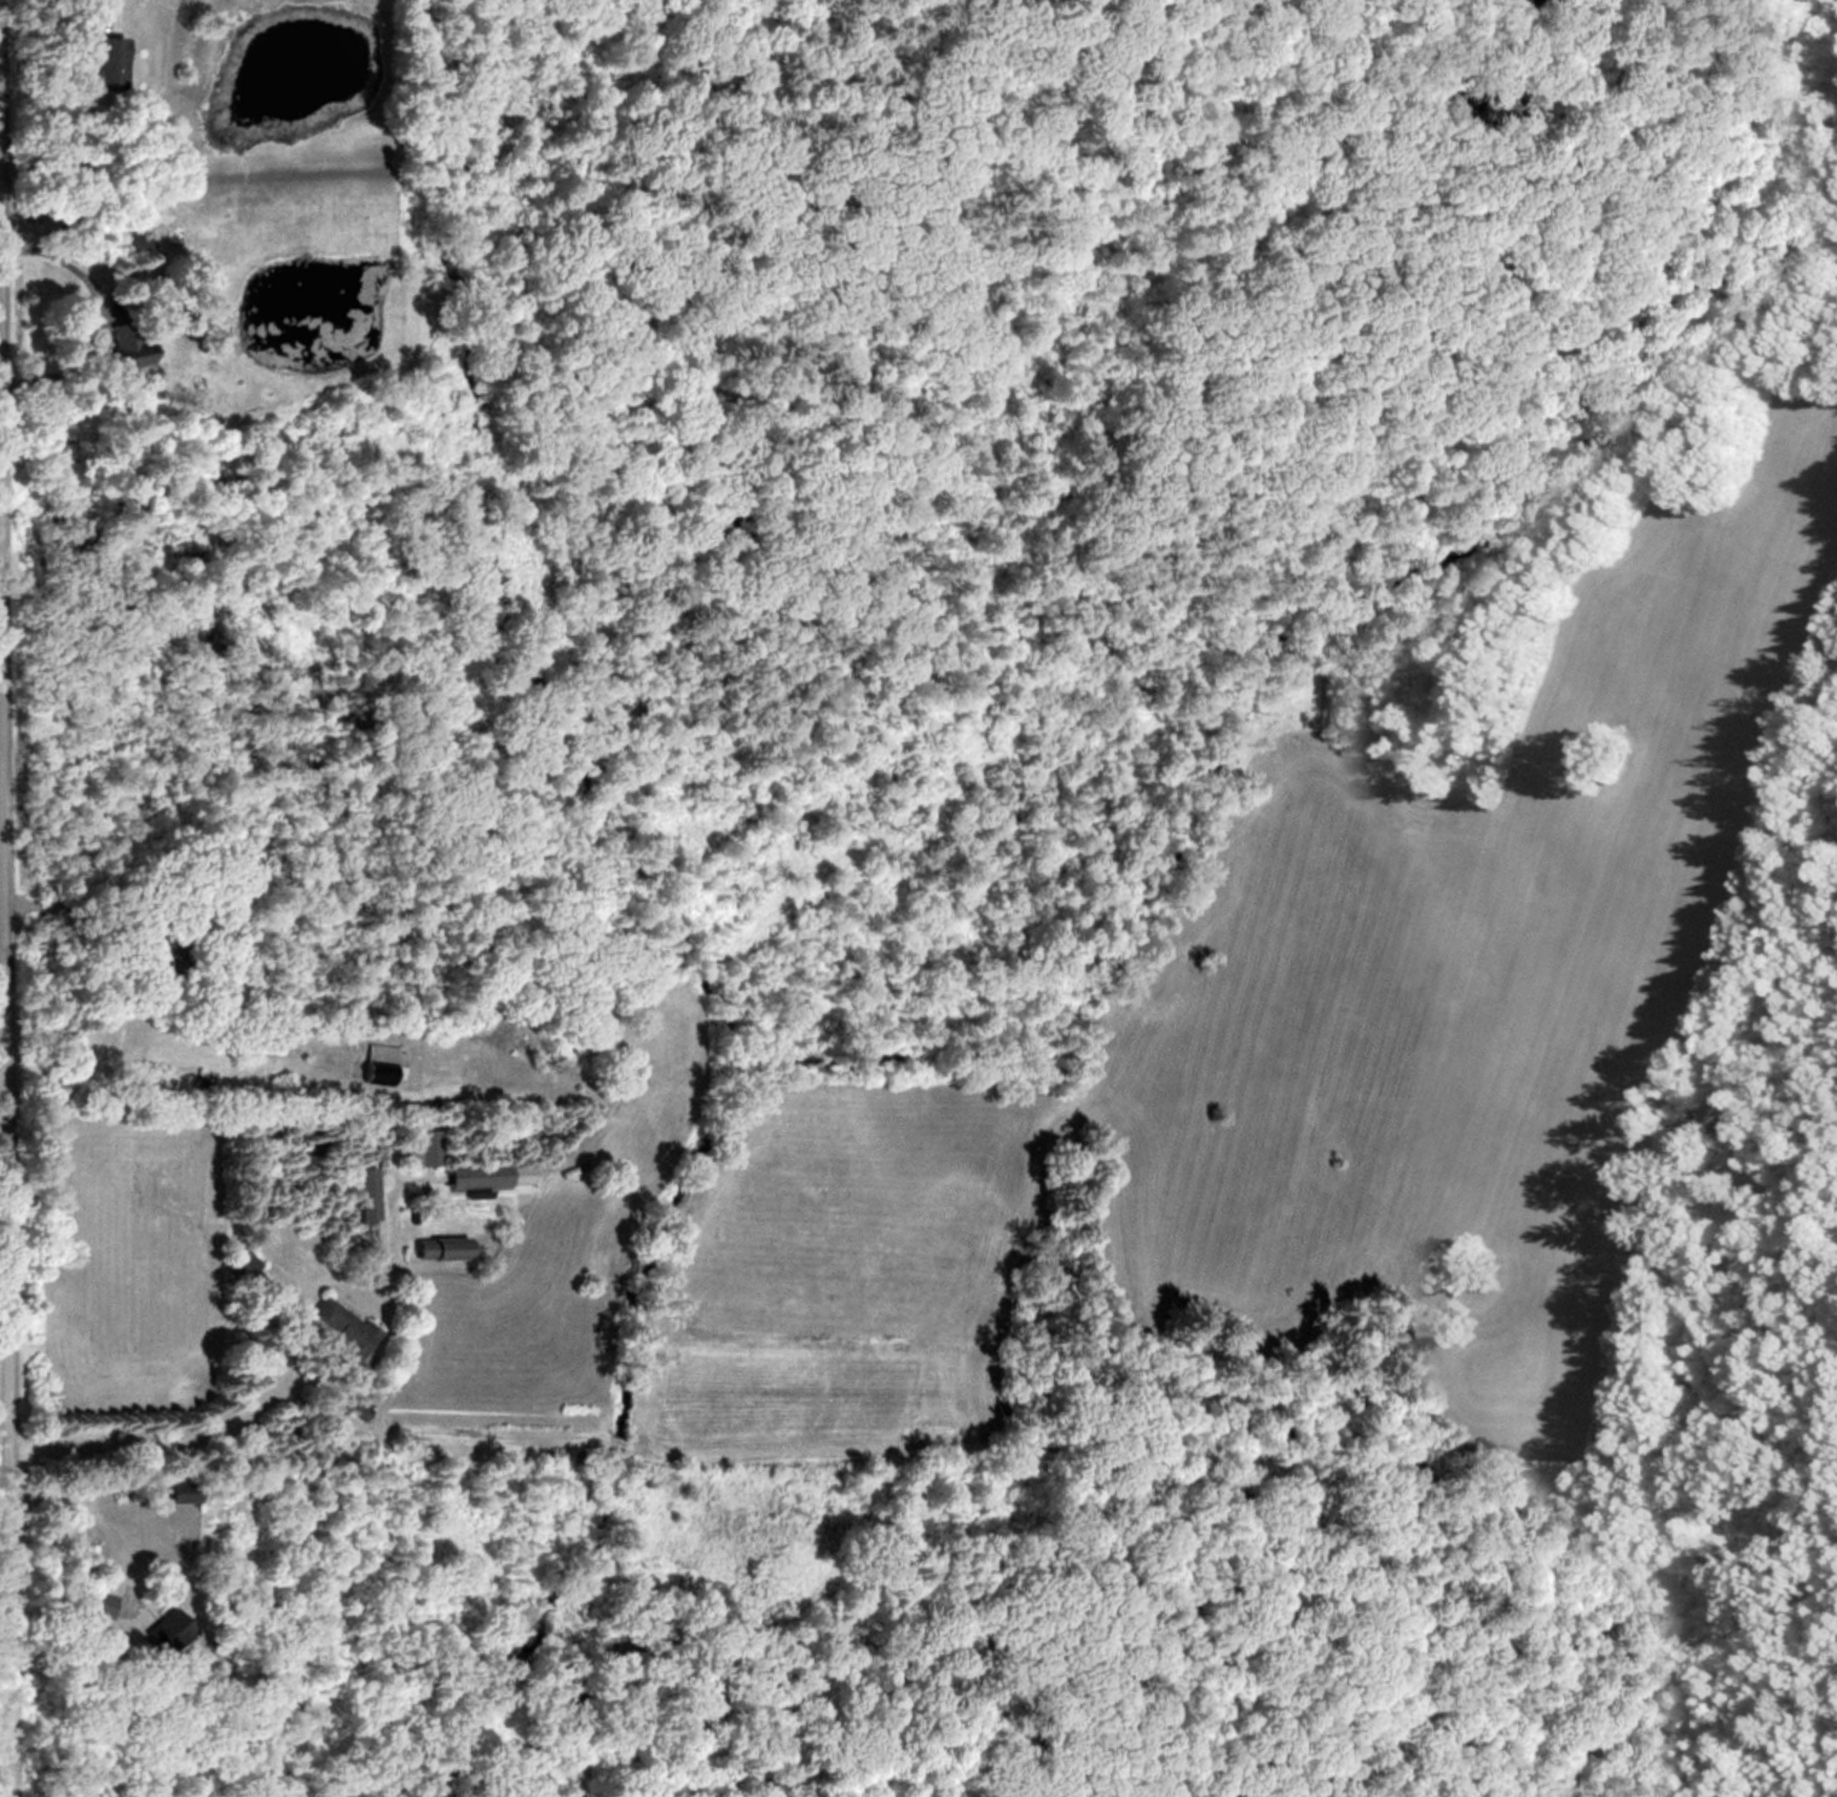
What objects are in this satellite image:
road: (8, 898)
building: (365, 1202)
building: (331, 1324)
building: (92, 1604)

